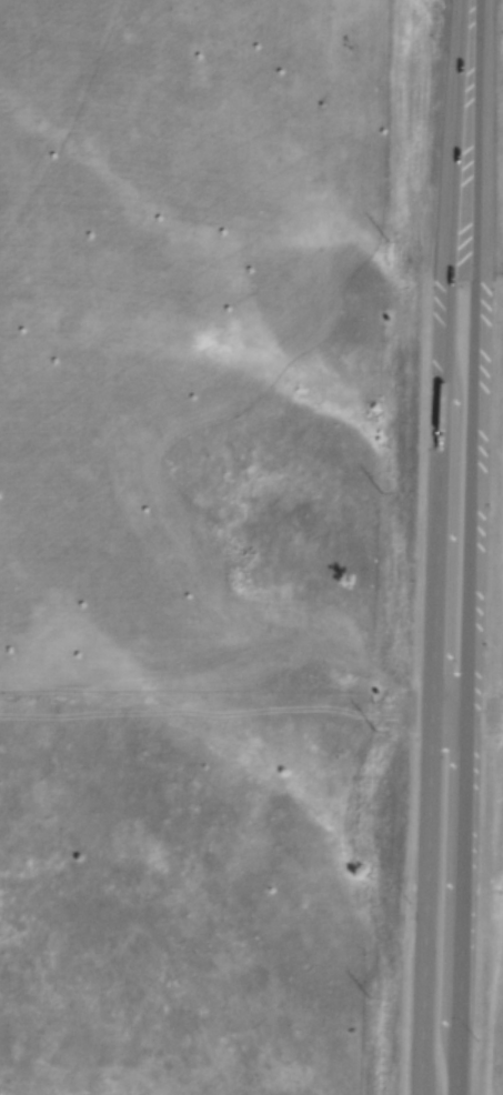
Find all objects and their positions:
road: (435, 546)
road: (472, 547)
road: (466, 716)

